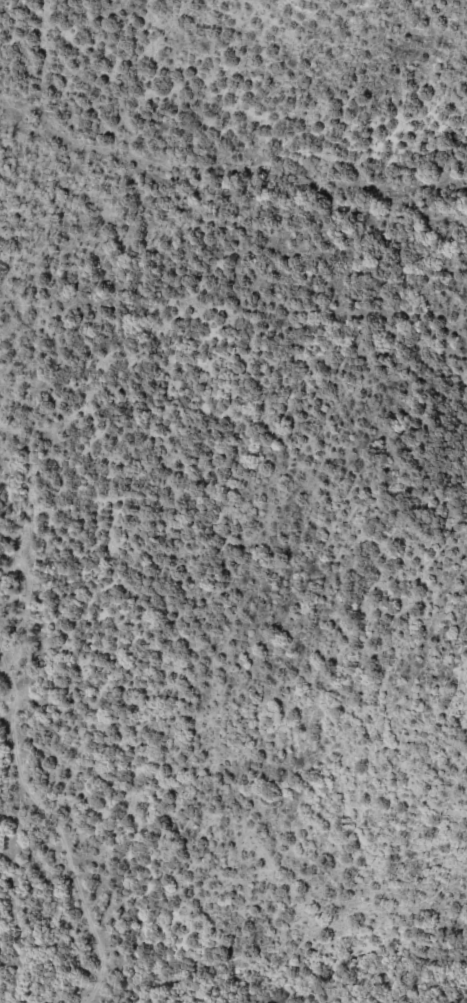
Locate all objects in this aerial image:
road: (96, 769)

